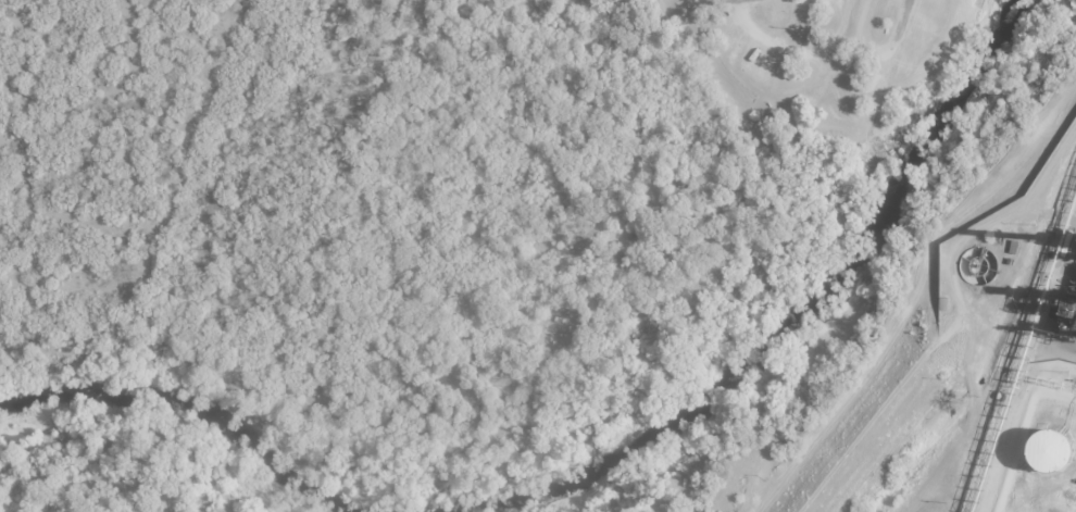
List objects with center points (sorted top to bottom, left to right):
road: (747, 3)
road: (795, 51)
road: (881, 54)
park: (826, 86)
building: (1062, 319)
river: (760, 322)
river: (163, 424)
building: (1049, 458)
storage tank: (1049, 458)

